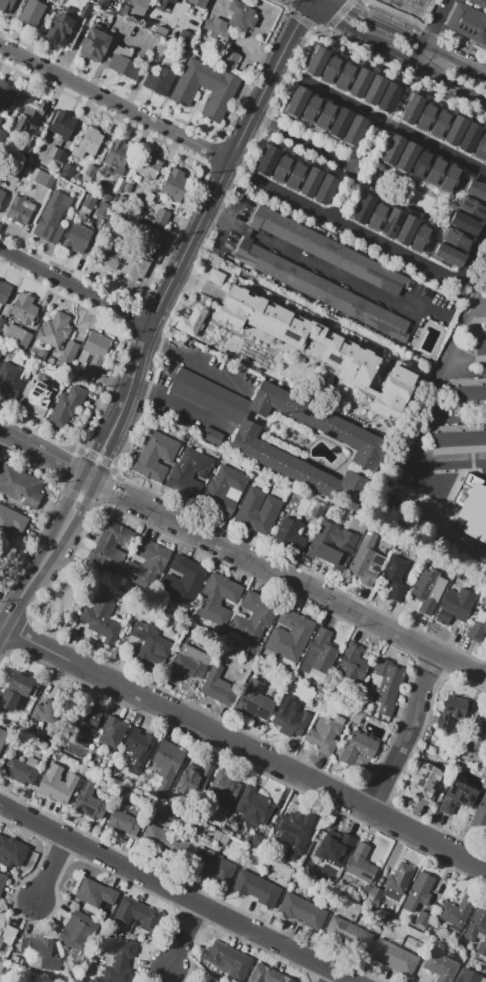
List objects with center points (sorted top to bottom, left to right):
building: (54, 1)
building: (130, 1)
building: (172, 1)
building: (103, 2)
road: (295, 2)
road: (301, 2)
building: (414, 2)
building: (159, 3)
building: (198, 3)
building: (479, 3)
road: (335, 5)
building: (5, 6)
road: (319, 6)
building: (83, 7)
building: (139, 7)
road: (307, 8)
traffic signals: (348, 10)
building: (31, 13)
road: (294, 14)
building: (242, 17)
road: (327, 17)
road: (305, 19)
building: (170, 21)
road: (377, 22)
building: (467, 22)
traffic signals: (301, 23)
building: (60, 24)
road: (350, 27)
building: (217, 28)
road: (432, 30)
road: (370, 36)
road: (417, 38)
building: (94, 45)
road: (284, 46)
road: (391, 46)
building: (162, 47)
road: (449, 53)
road: (409, 56)
building: (230, 59)
building: (317, 60)
building: (124, 63)
road: (478, 67)
building: (332, 69)
road: (440, 74)
building: (346, 75)
building: (160, 79)
building: (360, 83)
building: (206, 88)
building: (374, 90)
building: (7, 95)
road: (474, 95)
building: (390, 97)
road: (114, 102)
building: (295, 102)
building: (311, 108)
building: (412, 108)
building: (30, 114)
building: (325, 115)
building: (427, 115)
building: (442, 121)
building: (341, 122)
building: (62, 125)
road: (389, 125)
building: (355, 129)
building: (455, 130)
building: (1, 133)
building: (470, 138)
building: (89, 142)
road: (305, 143)
building: (31, 144)
building: (480, 147)
building: (393, 149)
building: (57, 154)
building: (117, 156)
building: (407, 156)
building: (267, 160)
building: (485, 162)
building: (422, 163)
building: (283, 166)
building: (21, 167)
building: (146, 168)
building: (67, 170)
building: (90, 170)
road: (358, 170)
building: (436, 171)
building: (297, 173)
building: (42, 178)
building: (450, 178)
building: (311, 182)
building: (118, 185)
building: (176, 185)
building: (325, 189)
building: (476, 189)
building: (2, 194)
building: (148, 198)
building: (88, 201)
building: (473, 207)
building: (363, 208)
building: (104, 209)
building: (20, 210)
building: (53, 215)
building: (161, 216)
building: (378, 216)
road: (224, 220)
building: (392, 223)
building: (466, 223)
road: (356, 230)
building: (407, 230)
road: (247, 231)
building: (148, 232)
building: (77, 238)
building: (422, 238)
building: (459, 240)
building: (328, 250)
building: (107, 255)
building: (450, 255)
road: (472, 255)
building: (135, 266)
road: (176, 270)
road: (332, 272)
road: (75, 286)
building: (321, 289)
building: (5, 292)
building: (24, 308)
building: (1, 322)
building: (191, 325)
building: (55, 330)
building: (298, 334)
building: (18, 335)
road: (451, 340)
building: (479, 347)
building: (68, 353)
building: (93, 353)
road: (200, 363)
building: (45, 367)
building: (9, 381)
building: (468, 392)
building: (207, 394)
building: (37, 397)
building: (67, 406)
road: (181, 407)
road: (243, 410)
road: (253, 416)
building: (322, 425)
building: (212, 436)
building: (458, 438)
building: (155, 455)
building: (0, 461)
road: (346, 461)
building: (299, 467)
building: (190, 471)
building: (465, 481)
building: (444, 482)
building: (481, 482)
building: (424, 483)
building: (19, 485)
building: (405, 487)
building: (223, 489)
building: (246, 511)
building: (485, 514)
building: (474, 519)
building: (11, 521)
building: (449, 523)
building: (289, 534)
building: (107, 544)
building: (331, 547)
road: (44, 553)
road: (242, 556)
building: (366, 559)
building: (147, 564)
building: (396, 577)
building: (182, 582)
building: (428, 590)
building: (217, 598)
building: (455, 605)
building: (254, 617)
building: (101, 620)
road: (0, 625)
building: (478, 627)
building: (290, 635)
building: (149, 641)
building: (319, 653)
building: (189, 662)
building: (353, 662)
building: (218, 686)
building: (386, 686)
building: (15, 691)
building: (254, 701)
building: (451, 712)
building: (43, 713)
building: (290, 717)
building: (87, 725)
building: (113, 731)
building: (325, 733)
road: (405, 734)
building: (477, 734)
building: (2, 738)
building: (139, 745)
road: (243, 748)
building: (359, 749)
building: (167, 761)
building: (21, 774)
building: (193, 778)
building: (427, 783)
building: (224, 789)
building: (56, 790)
building: (457, 797)
building: (90, 806)
building: (254, 806)
building: (478, 813)
building: (124, 824)
building: (294, 826)
building: (163, 840)
building: (333, 849)
building: (11, 853)
building: (360, 863)
building: (210, 865)
road: (53, 870)
building: (2, 882)
building: (398, 883)
building: (256, 889)
building: (98, 891)
road: (177, 893)
building: (420, 899)
building: (138, 911)
building: (302, 912)
building: (456, 913)
building: (477, 924)
building: (74, 929)
building: (0, 933)
building: (348, 933)
road: (186, 935)
building: (43, 952)
building: (394, 957)
building: (224, 959)
building: (119, 960)
building: (440, 965)
building: (267, 975)
road: (330, 976)
building: (469, 976)
building: (209, 981)
building: (211, 981)

